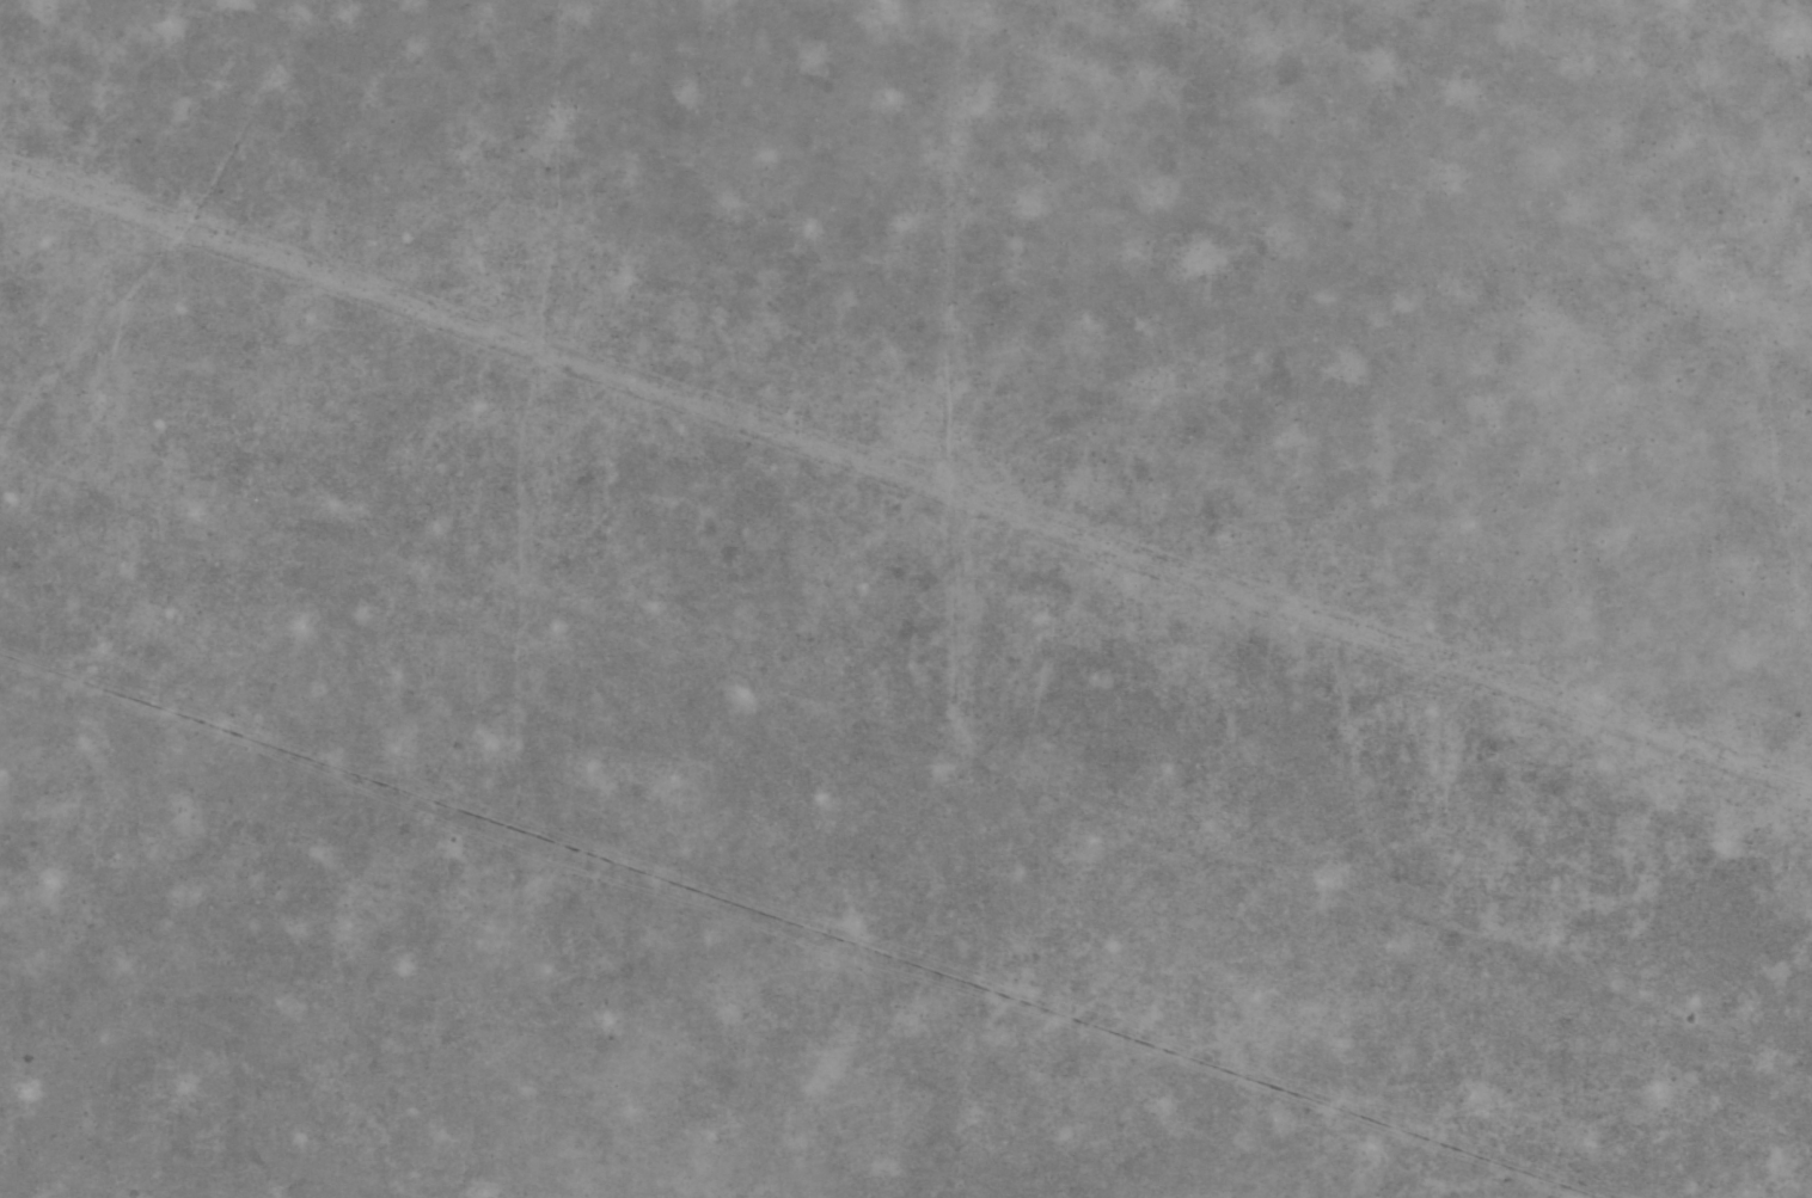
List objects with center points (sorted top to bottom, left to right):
road: (906, 471)

